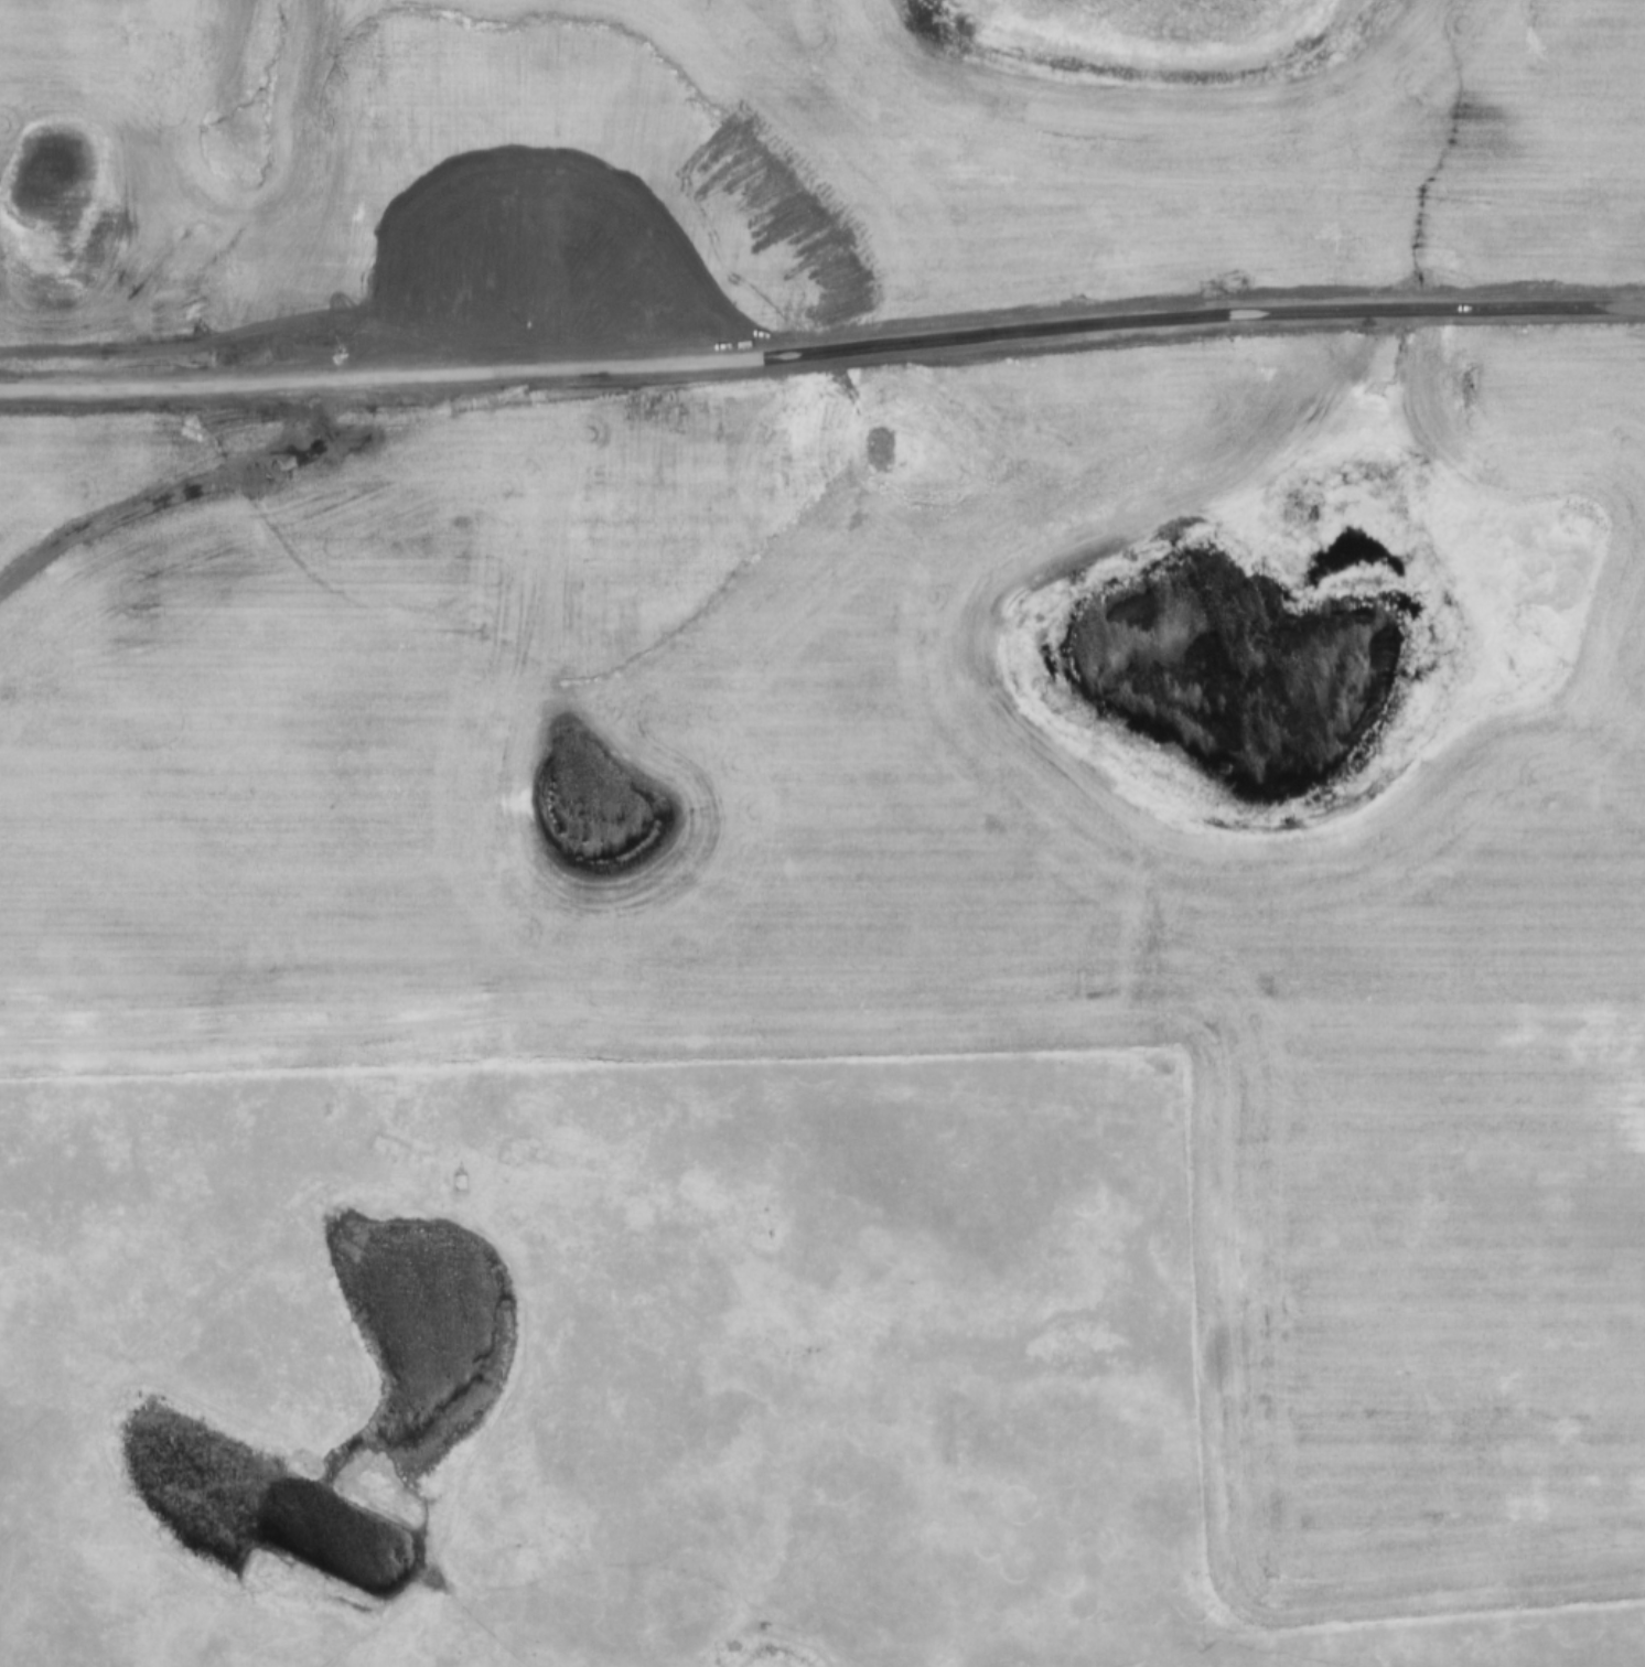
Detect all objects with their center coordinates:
wind turbine: (533, 335)

